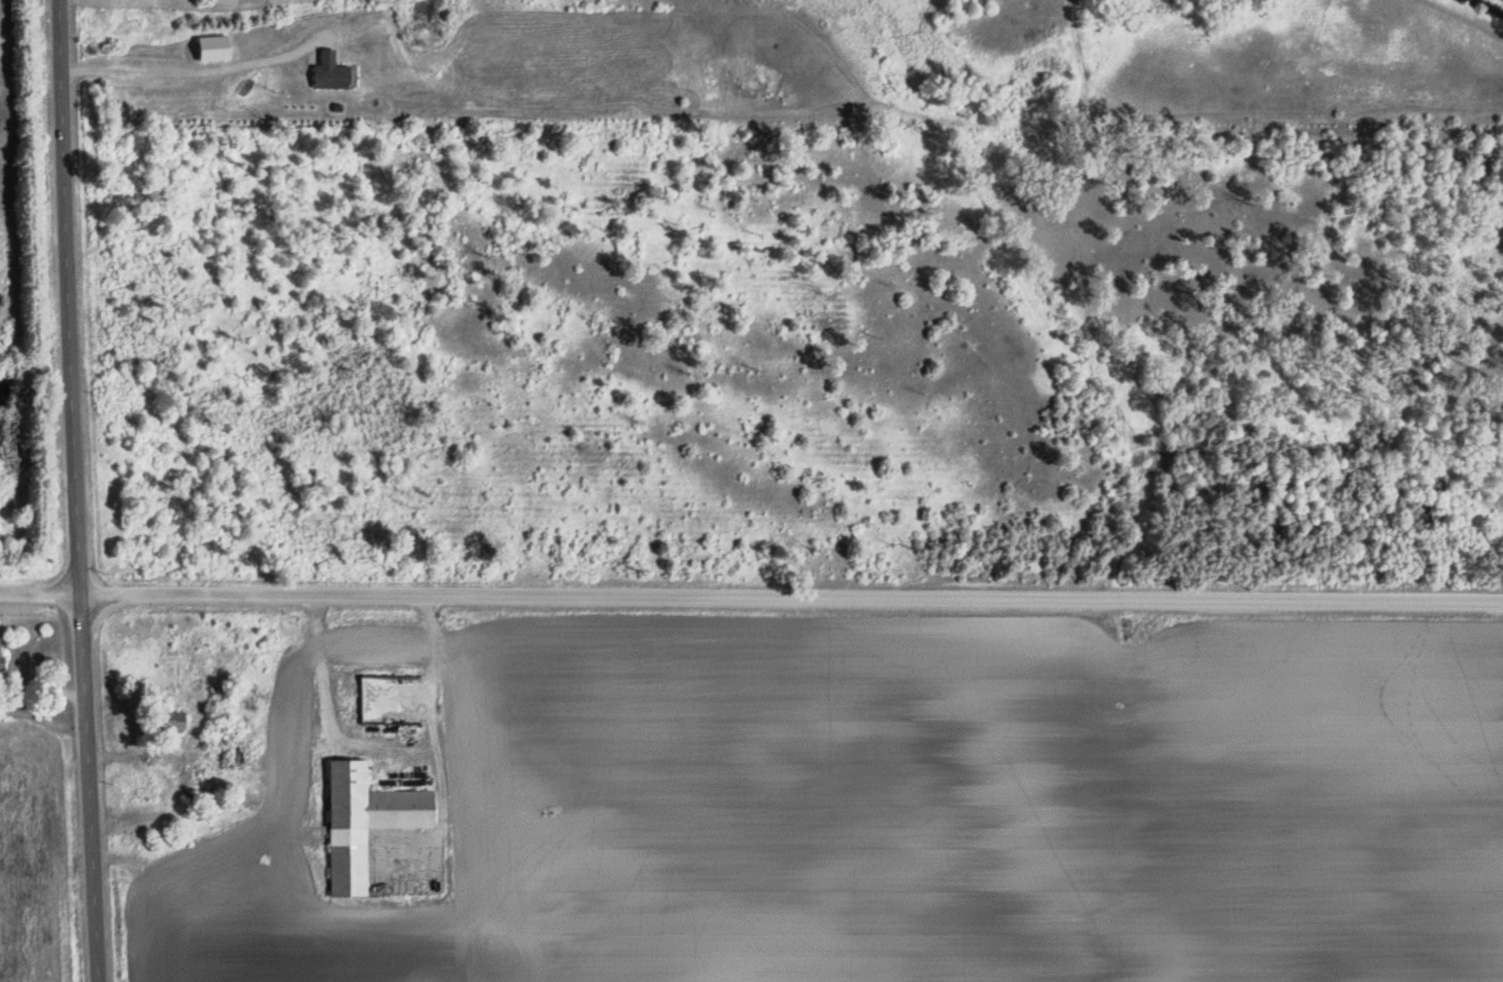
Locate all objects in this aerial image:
building: (332, 73)
road: (75, 491)
road: (751, 587)
building: (391, 700)
building: (172, 721)
building: (194, 780)
building: (367, 821)

